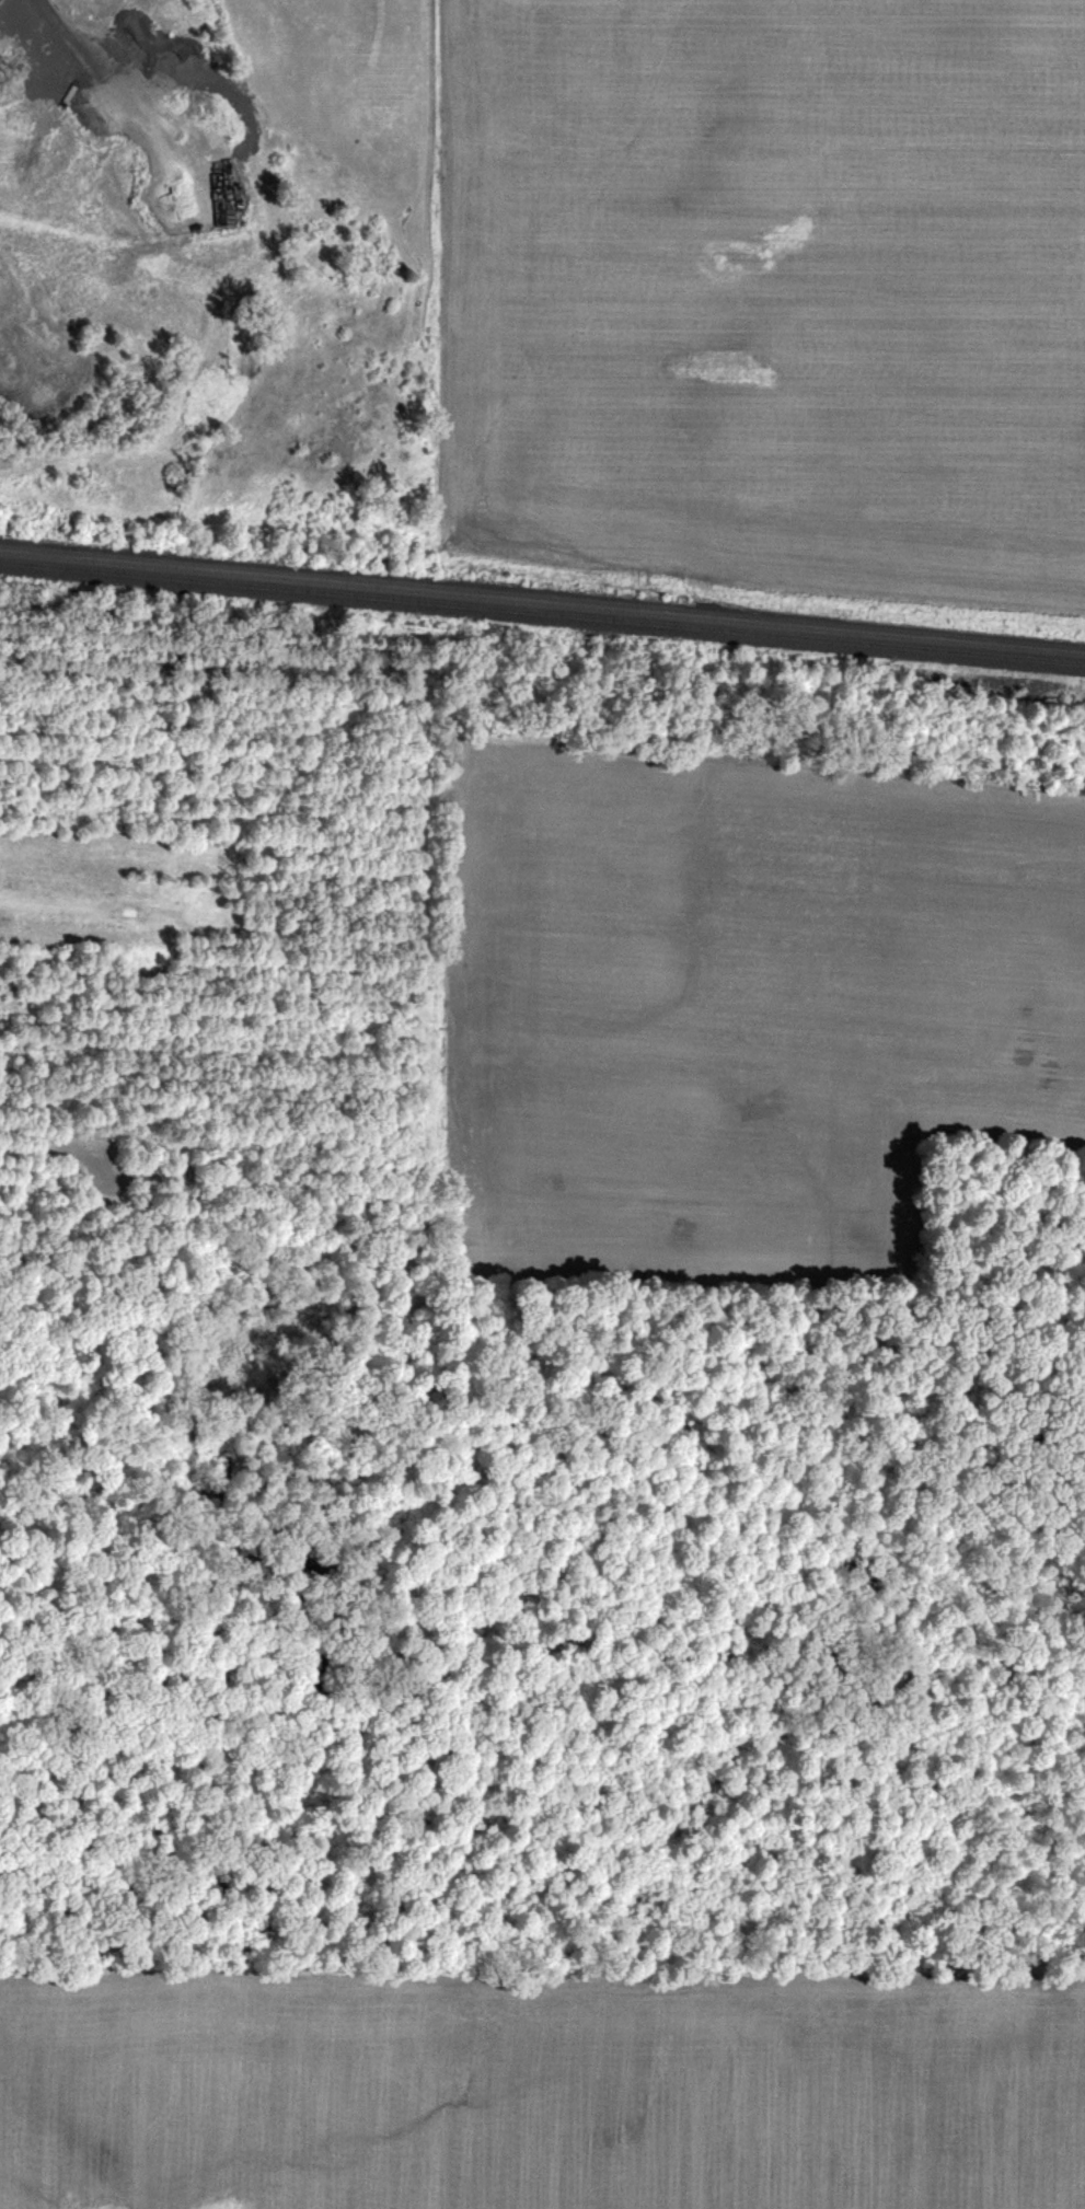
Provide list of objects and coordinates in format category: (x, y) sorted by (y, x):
railway: (542, 601)
railway: (542, 612)

